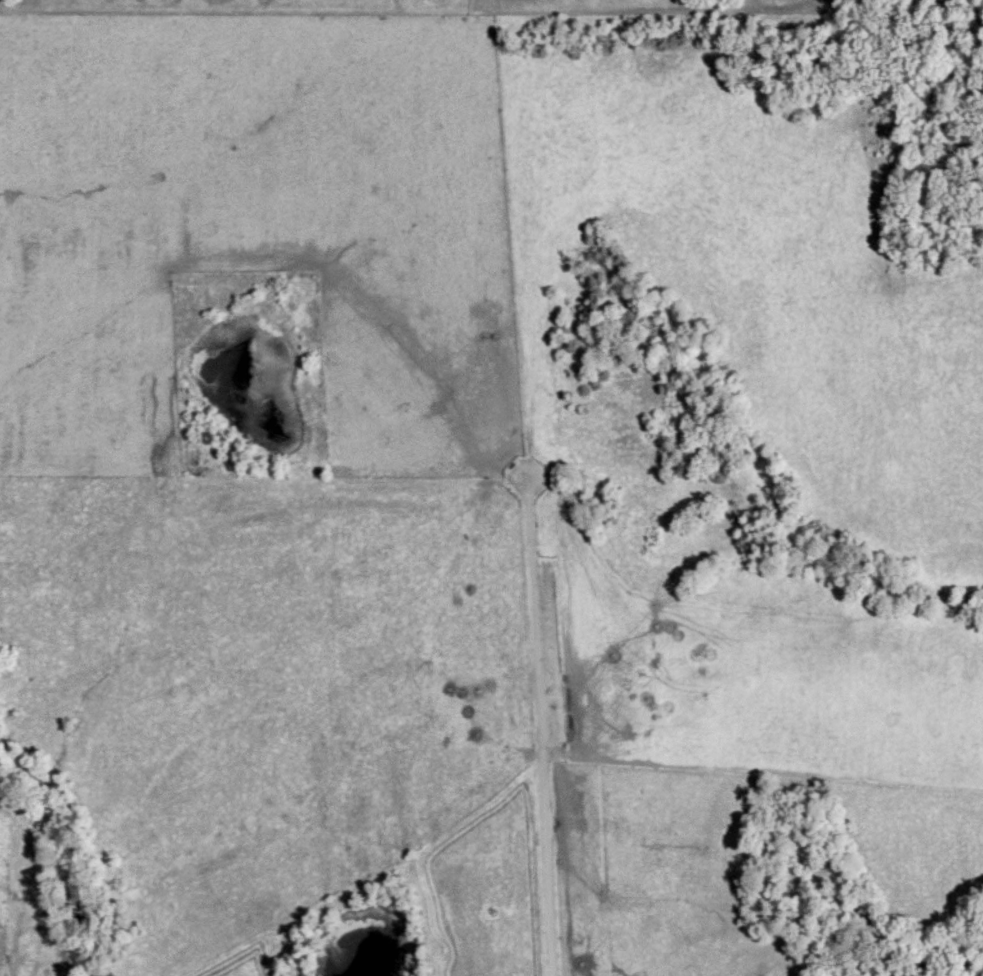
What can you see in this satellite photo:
road: (547, 726)

